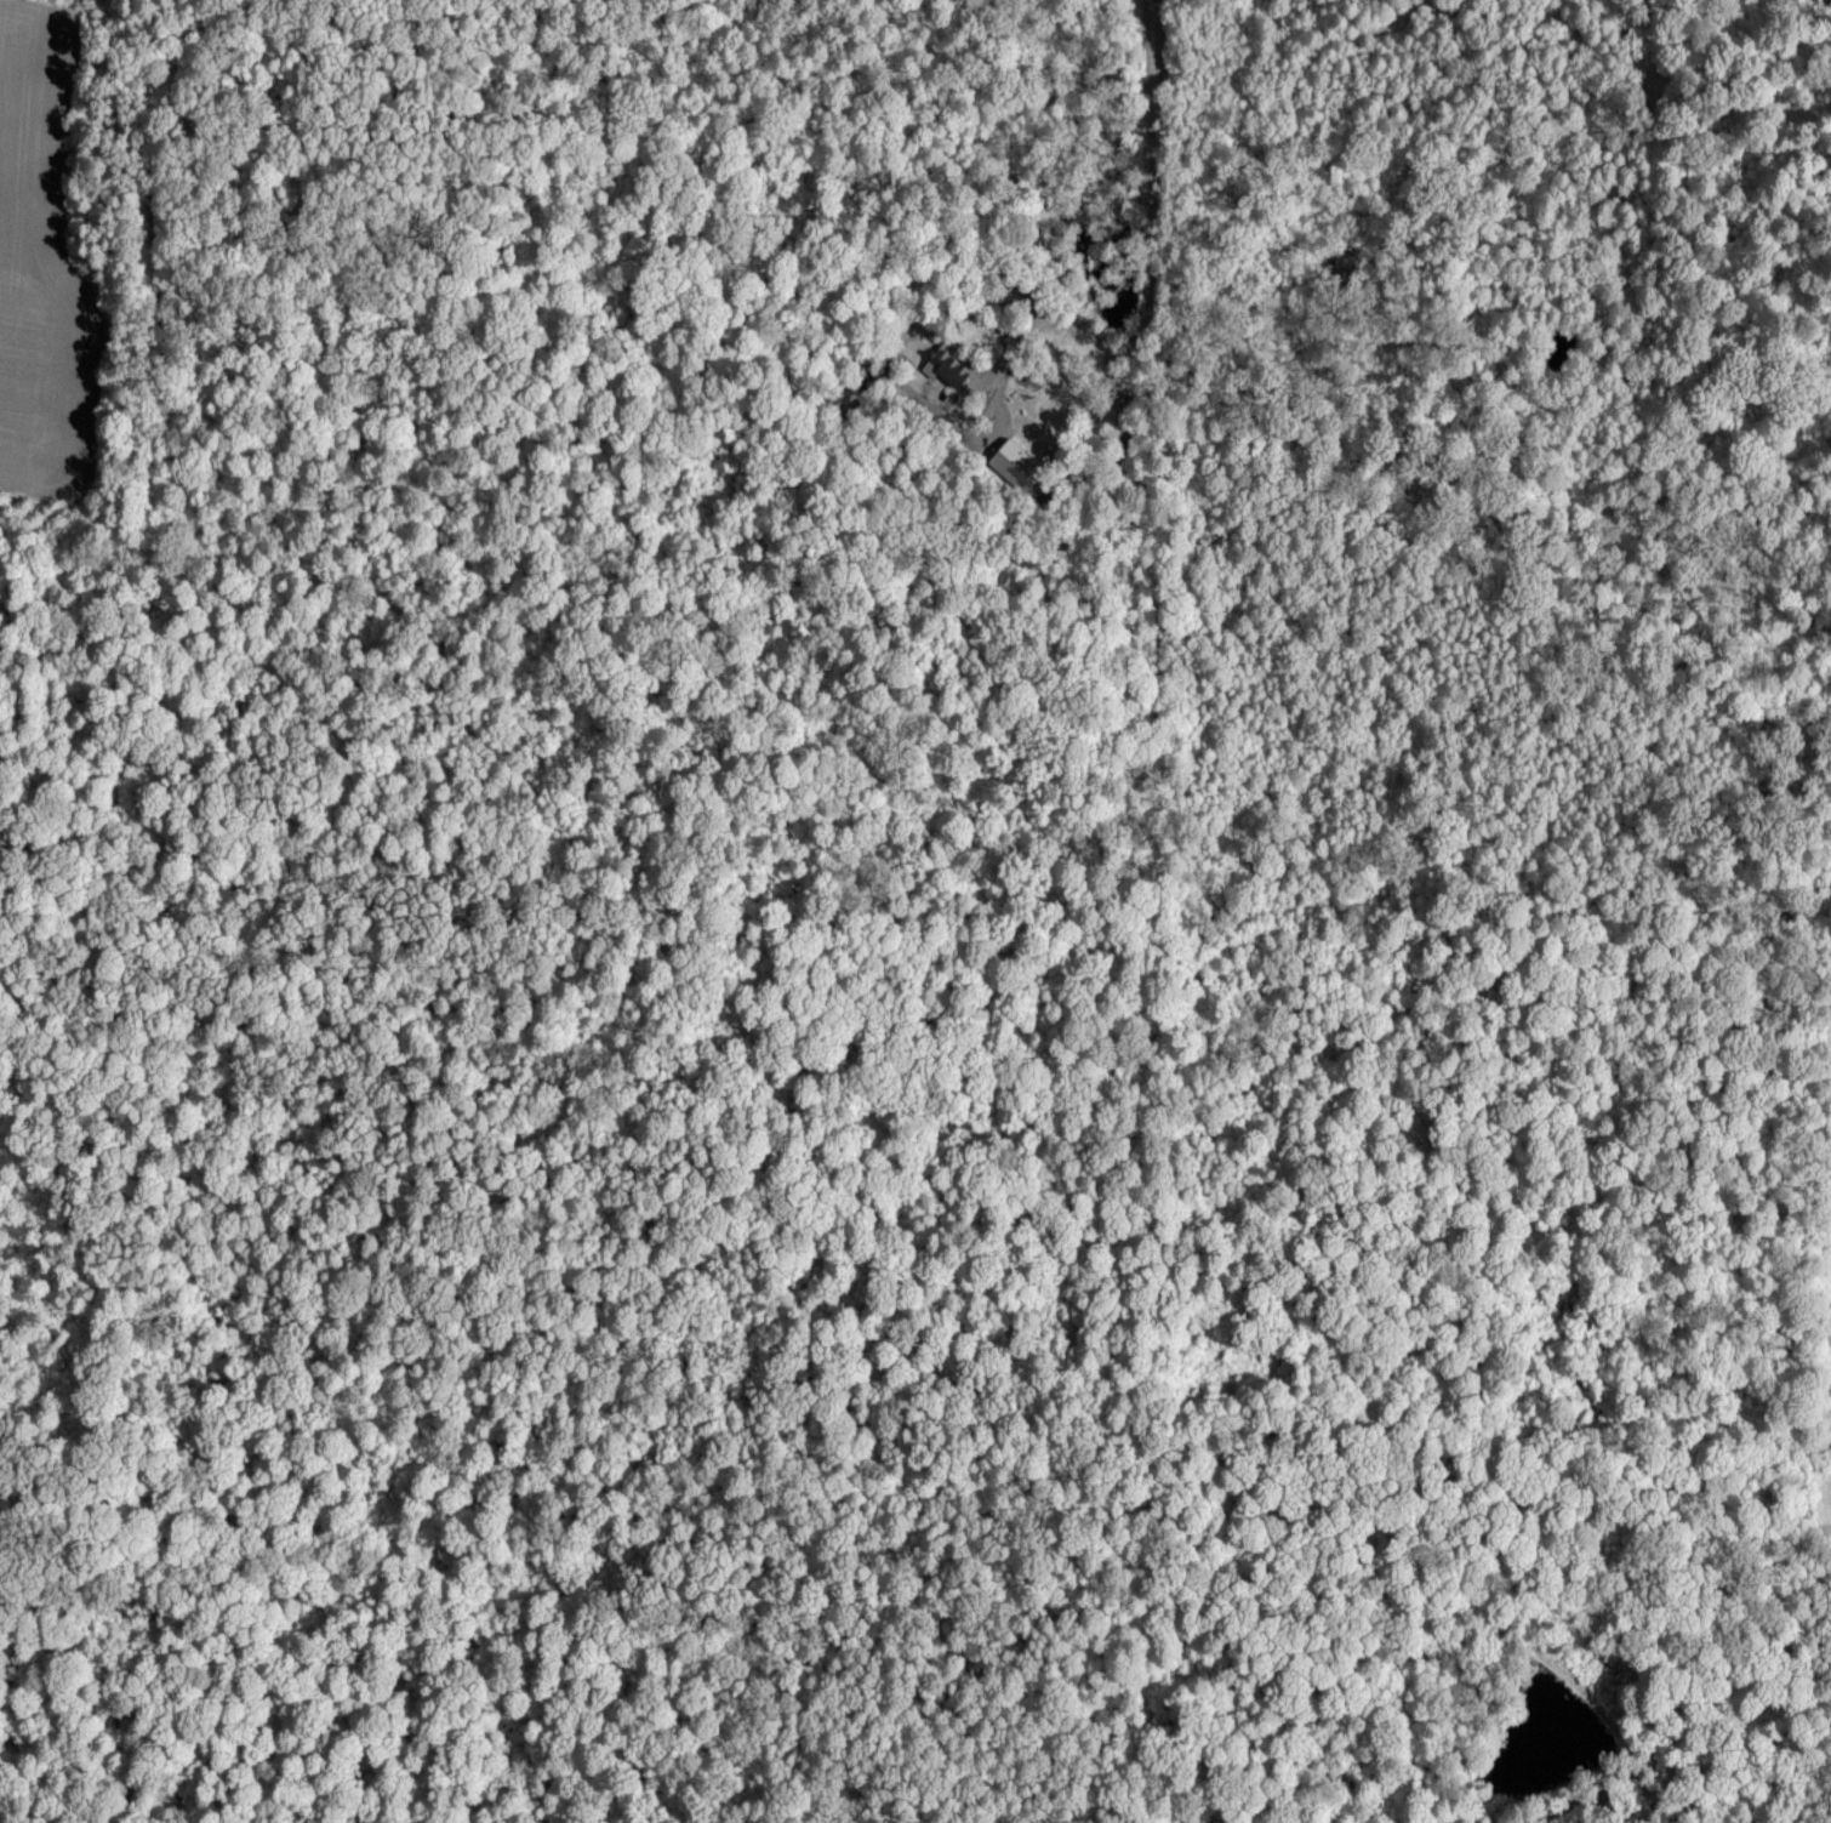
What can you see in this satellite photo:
building: (947, 364)
building: (1015, 465)
road: (1827, 1527)

